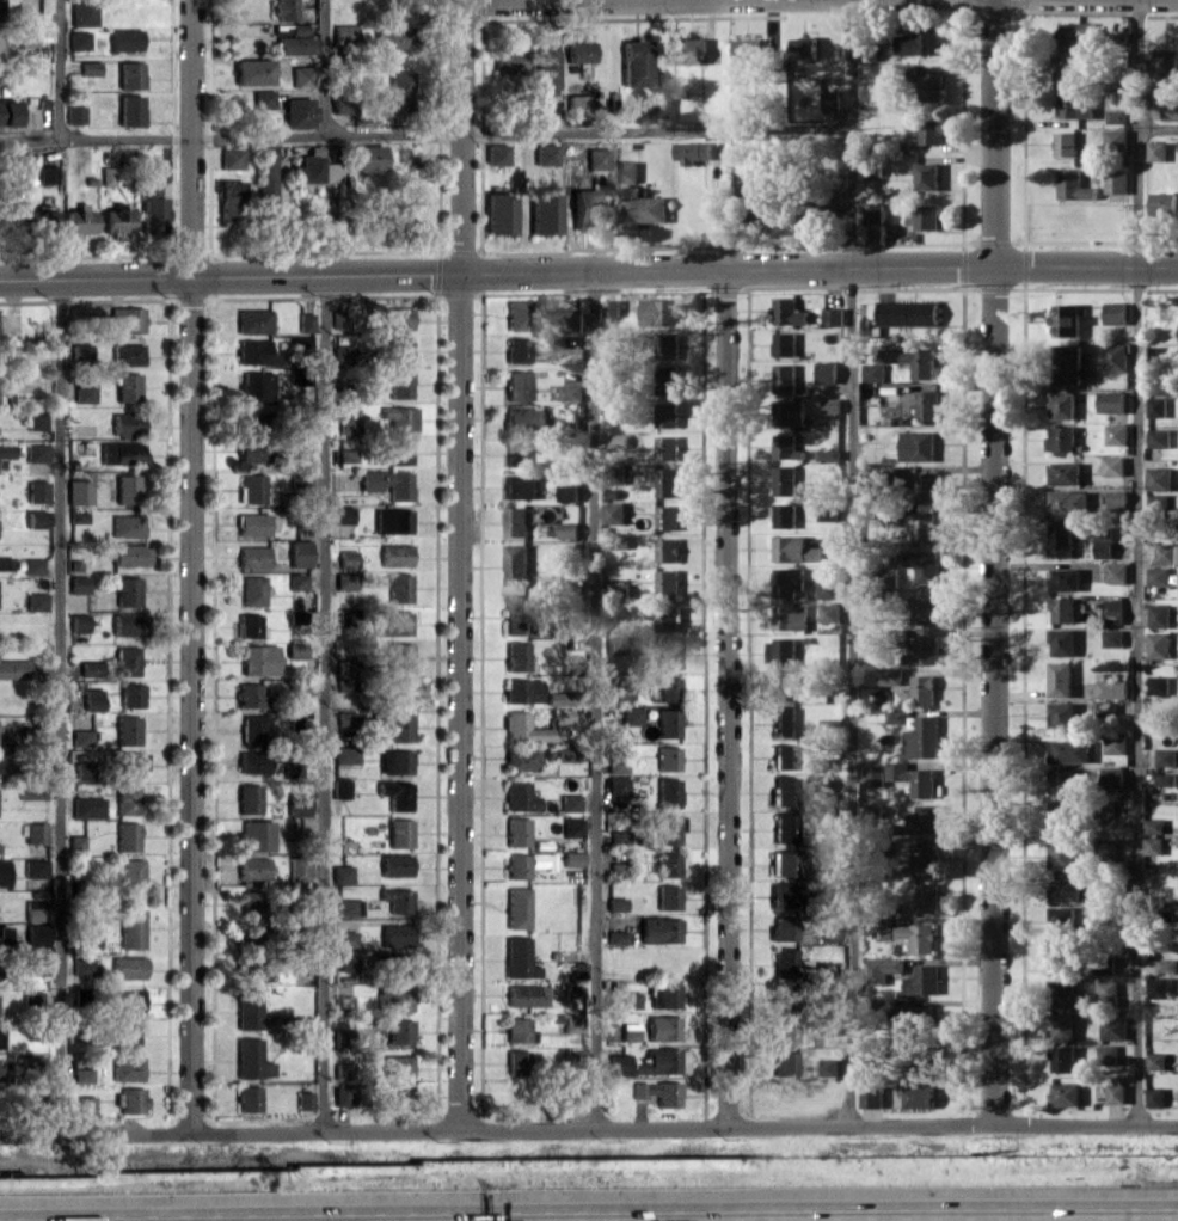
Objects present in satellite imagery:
building: (283, 10)
building: (82, 12)
building: (343, 33)
building: (1074, 33)
building: (393, 36)
building: (124, 38)
building: (78, 39)
building: (293, 41)
building: (920, 42)
building: (0, 45)
building: (805, 47)
building: (748, 49)
building: (578, 50)
building: (692, 50)
building: (1166, 60)
building: (508, 61)
building: (634, 62)
building: (88, 67)
road: (323, 67)
road: (57, 68)
building: (1067, 68)
building: (546, 69)
building: (252, 70)
building: (129, 74)
building: (300, 75)
building: (932, 86)
building: (397, 91)
building: (262, 98)
building: (830, 100)
building: (340, 102)
building: (1075, 105)
building: (576, 106)
building: (662, 108)
building: (129, 109)
building: (1170, 109)
building: (7, 112)
building: (297, 112)
building: (74, 113)
building: (1117, 116)
road: (1159, 127)
building: (932, 130)
road: (425, 131)
road: (460, 136)
road: (189, 137)
building: (1117, 139)
building: (1066, 143)
building: (693, 151)
building: (1156, 151)
building: (496, 153)
building: (545, 153)
building: (231, 158)
building: (368, 158)
building: (596, 158)
building: (313, 170)
building: (626, 171)
building: (265, 172)
building: (47, 173)
building: (105, 174)
building: (927, 176)
building: (1116, 180)
building: (1074, 185)
building: (229, 197)
building: (1164, 203)
building: (7, 207)
building: (152, 208)
building: (643, 208)
building: (762, 208)
building: (583, 209)
building: (873, 211)
building: (498, 213)
building: (544, 213)
building: (808, 213)
building: (925, 216)
building: (115, 217)
building: (78, 219)
building: (42, 220)
road: (682, 268)
road: (94, 277)
building: (612, 307)
building: (659, 312)
building: (789, 312)
building: (1116, 312)
building: (908, 313)
building: (516, 314)
building: (834, 317)
building: (395, 318)
building: (128, 319)
building: (1068, 319)
building: (252, 320)
building: (575, 320)
building: (305, 321)
building: (784, 344)
building: (667, 345)
building: (399, 349)
building: (515, 349)
building: (254, 352)
building: (127, 354)
building: (342, 354)
building: (1117, 356)
building: (913, 360)
building: (1068, 363)
building: (827, 372)
building: (873, 372)
building: (785, 378)
building: (667, 379)
building: (399, 382)
building: (256, 385)
building: (516, 385)
building: (127, 386)
building: (84, 392)
building: (571, 392)
building: (1112, 401)
building: (928, 404)
building: (832, 405)
building: (1063, 405)
building: (1158, 406)
building: (789, 413)
building: (668, 415)
building: (399, 417)
building: (36, 419)
building: (524, 419)
building: (251, 422)
building: (127, 423)
building: (346, 424)
building: (1117, 434)
building: (1062, 437)
building: (1159, 437)
building: (618, 440)
building: (918, 446)
building: (668, 447)
building: (787, 447)
building: (252, 450)
building: (394, 450)
building: (36, 452)
building: (119, 452)
building: (5, 453)
building: (516, 454)
building: (345, 455)
building: (1116, 466)
building: (1066, 473)
building: (1160, 478)
building: (785, 479)
building: (667, 481)
building: (387, 483)
building: (927, 485)
building: (520, 486)
building: (127, 487)
building: (254, 489)
building: (37, 491)
building: (78, 491)
building: (569, 492)
building: (1118, 499)
building: (1068, 503)
building: (1160, 503)
building: (614, 513)
building: (828, 513)
building: (342, 514)
building: (76, 515)
building: (785, 515)
building: (668, 516)
building: (35, 519)
building: (392, 520)
building: (516, 521)
building: (925, 522)
building: (256, 523)
building: (127, 524)
building: (569, 529)
building: (1061, 540)
building: (1104, 544)
building: (794, 548)
building: (668, 550)
building: (299, 553)
building: (1166, 553)
building: (130, 554)
building: (394, 554)
building: (252, 556)
building: (346, 558)
road: (994, 562)
road: (1140, 562)
building: (5, 563)
road: (852, 563)
building: (516, 564)
building: (32, 565)
building: (922, 565)
building: (1116, 572)
building: (1158, 576)
building: (890, 577)
building: (345, 579)
building: (1066, 579)
building: (296, 581)
building: (787, 581)
building: (667, 582)
building: (78, 584)
building: (399, 587)
building: (252, 589)
building: (828, 589)
building: (127, 590)
building: (36, 601)
building: (922, 608)
building: (1113, 608)
building: (1063, 609)
building: (830, 612)
building: (516, 613)
building: (1159, 615)
building: (664, 618)
building: (791, 618)
building: (78, 621)
building: (392, 622)
building: (128, 624)
building: (247, 625)
building: (1112, 637)
building: (1063, 642)
building: (614, 645)
building: (1158, 645)
building: (295, 650)
building: (925, 650)
building: (780, 651)
building: (667, 654)
building: (399, 656)
building: (516, 656)
building: (127, 659)
building: (258, 659)
building: (13, 668)
building: (91, 668)
building: (890, 675)
building: (1061, 679)
building: (1159, 685)
building: (784, 687)
building: (664, 688)
building: (1112, 688)
building: (925, 689)
building: (521, 691)
building: (397, 692)
building: (131, 694)
building: (249, 694)
building: (615, 694)
building: (557, 698)
road: (728, 698)
building: (92, 699)
road: (593, 699)
road: (456, 700)
road: (321, 702)
road: (190, 704)
road: (59, 706)
building: (1063, 714)
building: (560, 716)
building: (630, 716)
building: (897, 716)
building: (346, 717)
building: (785, 720)
building: (667, 722)
building: (297, 723)
building: (397, 725)
building: (253, 728)
building: (522, 728)
building: (127, 729)
building: (81, 736)
building: (924, 738)
building: (1116, 744)
building: (1069, 750)
building: (564, 753)
building: (344, 754)
building: (785, 756)
building: (1166, 756)
building: (520, 757)
building: (667, 757)
building: (252, 761)
building: (395, 761)
building: (133, 763)
building: (0, 765)
building: (615, 766)
building: (84, 771)
building: (875, 775)
building: (1112, 777)
building: (913, 778)
building: (1166, 779)
building: (1062, 780)
building: (616, 786)
building: (339, 787)
building: (785, 791)
building: (668, 792)
building: (395, 793)
building: (519, 796)
building: (247, 798)
building: (127, 799)
building: (569, 802)
building: (297, 804)
building: (87, 806)
building: (873, 809)
building: (1061, 817)
building: (924, 818)
building: (1154, 824)
building: (571, 827)
building: (784, 827)
building: (668, 828)
building: (399, 832)
building: (516, 832)
building: (35, 833)
building: (127, 835)
building: (75, 841)
building: (1153, 845)
building: (1106, 851)
building: (1063, 854)
building: (924, 857)
building: (571, 858)
building: (526, 863)
building: (785, 863)
building: (667, 864)
building: (35, 867)
building: (252, 867)
building: (297, 867)
building: (4, 872)
building: (340, 872)
building: (130, 878)
building: (1066, 889)
building: (783, 895)
building: (667, 897)
building: (927, 897)
building: (395, 898)
building: (251, 902)
building: (615, 903)
building: (348, 907)
building: (516, 907)
building: (35, 909)
building: (1063, 919)
building: (130, 927)
building: (884, 927)
building: (783, 928)
building: (659, 929)
building: (36, 933)
building: (828, 933)
building: (394, 934)
building: (615, 935)
building: (919, 935)
building: (2, 937)
building: (88, 938)
building: (344, 938)
building: (1061, 956)
building: (517, 958)
building: (345, 962)
building: (784, 963)
building: (400, 964)
building: (81, 965)
building: (1105, 965)
building: (1167, 965)
building: (128, 967)
building: (252, 968)
building: (883, 969)
building: (924, 980)
building: (1159, 987)
building: (1108, 990)
building: (524, 994)
building: (664, 994)
building: (1068, 994)
building: (395, 996)
building: (31, 999)
building: (128, 999)
building: (630, 999)
building: (781, 1000)
building: (249, 1010)
building: (925, 1014)
building: (571, 1023)
building: (1063, 1025)
building: (662, 1027)
building: (1113, 1027)
building: (399, 1030)
building: (517, 1030)
building: (628, 1030)
building: (784, 1030)
building: (128, 1033)
building: (0, 1035)
building: (1108, 1054)
building: (251, 1059)
building: (1063, 1059)
building: (516, 1061)
building: (650, 1061)
building: (1156, 1061)
building: (784, 1062)
building: (926, 1063)
building: (394, 1064)
building: (828, 1066)
building: (127, 1068)
building: (1, 1073)
building: (81, 1074)
building: (394, 1092)
building: (658, 1092)
building: (1066, 1093)
building: (1116, 1093)
building: (872, 1096)
building: (919, 1097)
building: (1155, 1097)
building: (247, 1098)
building: (303, 1099)
building: (130, 1100)
building: (85, 1104)
road: (588, 1129)

